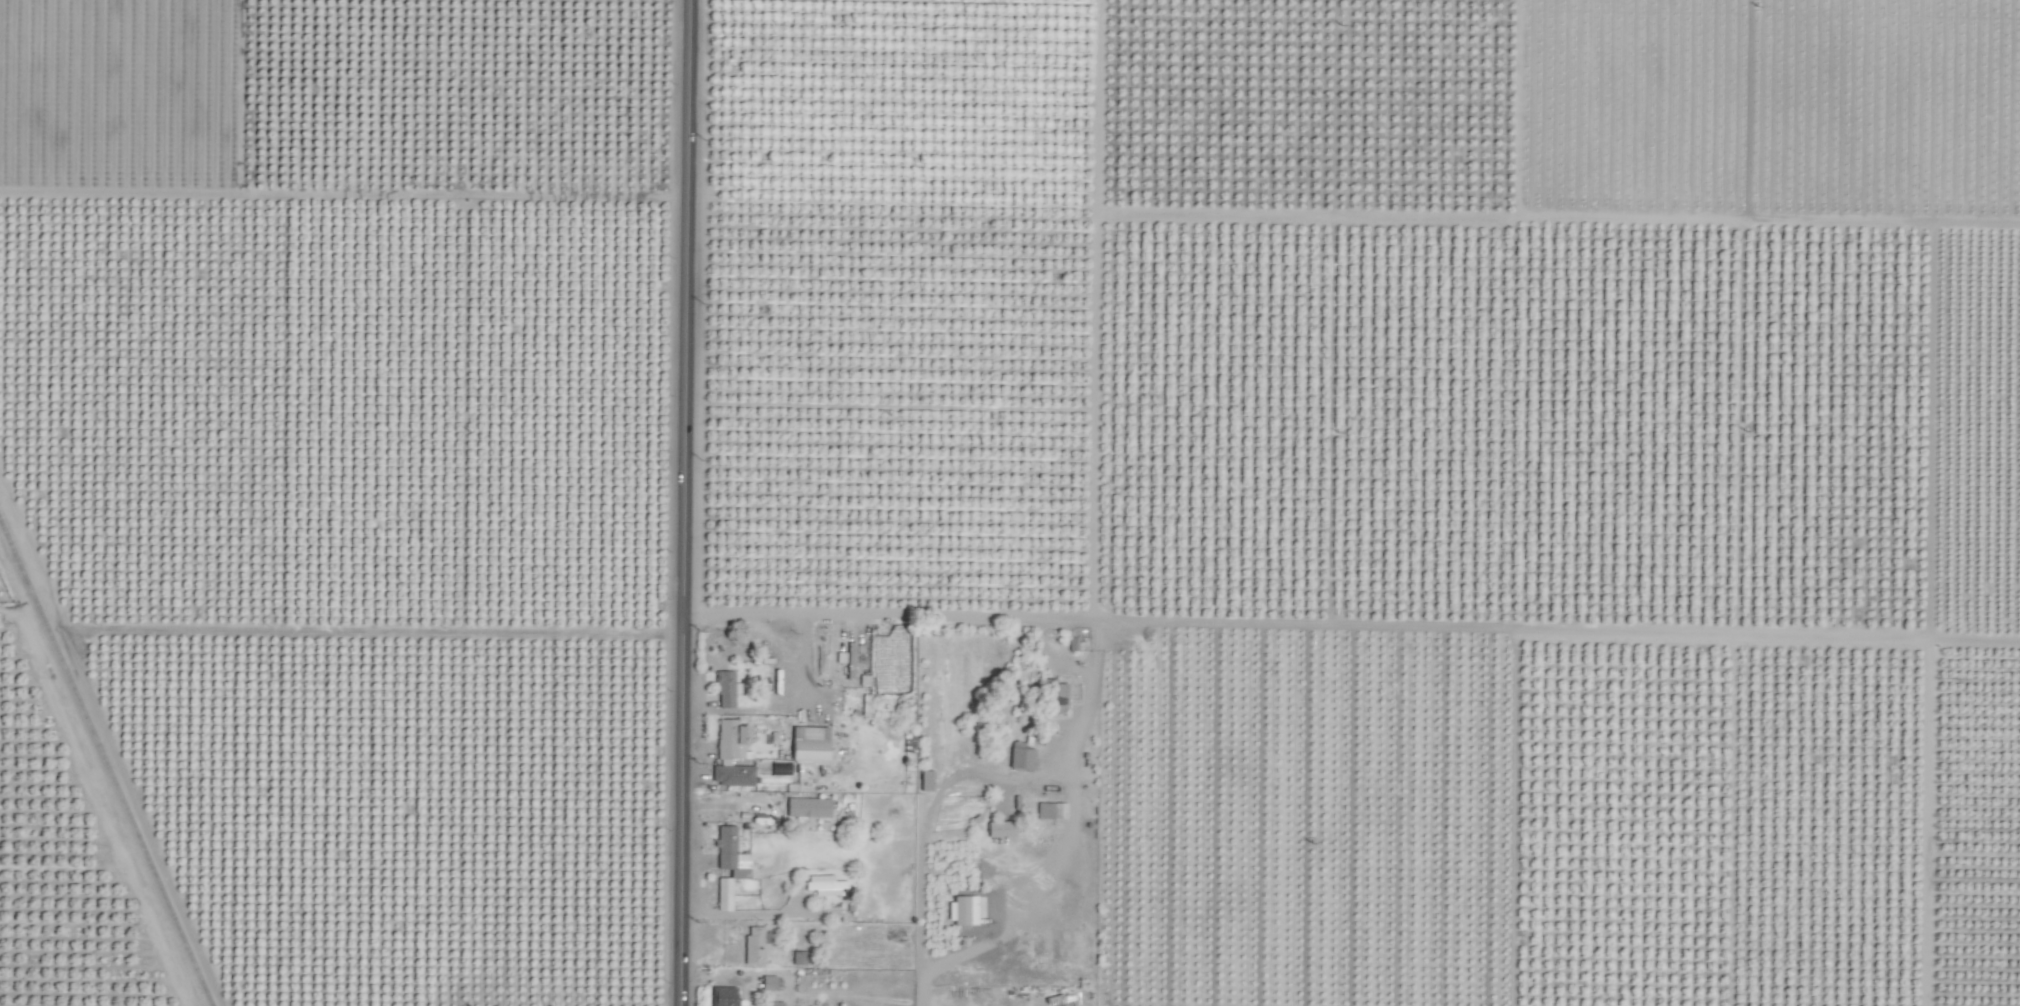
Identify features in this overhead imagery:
road: (689, 503)
crop: (1010, 503)
road: (681, 618)
road: (805, 652)
building: (853, 660)
building: (894, 670)
building: (727, 689)
building: (1056, 698)
building: (734, 740)
building: (812, 744)
building: (1023, 757)
railway: (105, 764)
building: (735, 775)
building: (928, 781)
building: (810, 808)
building: (1053, 811)
building: (1003, 829)
building: (732, 853)
building: (827, 884)
building: (726, 894)
building: (968, 909)
road: (1008, 919)
building: (756, 946)
building: (801, 958)
building: (770, 983)
building: (725, 996)

